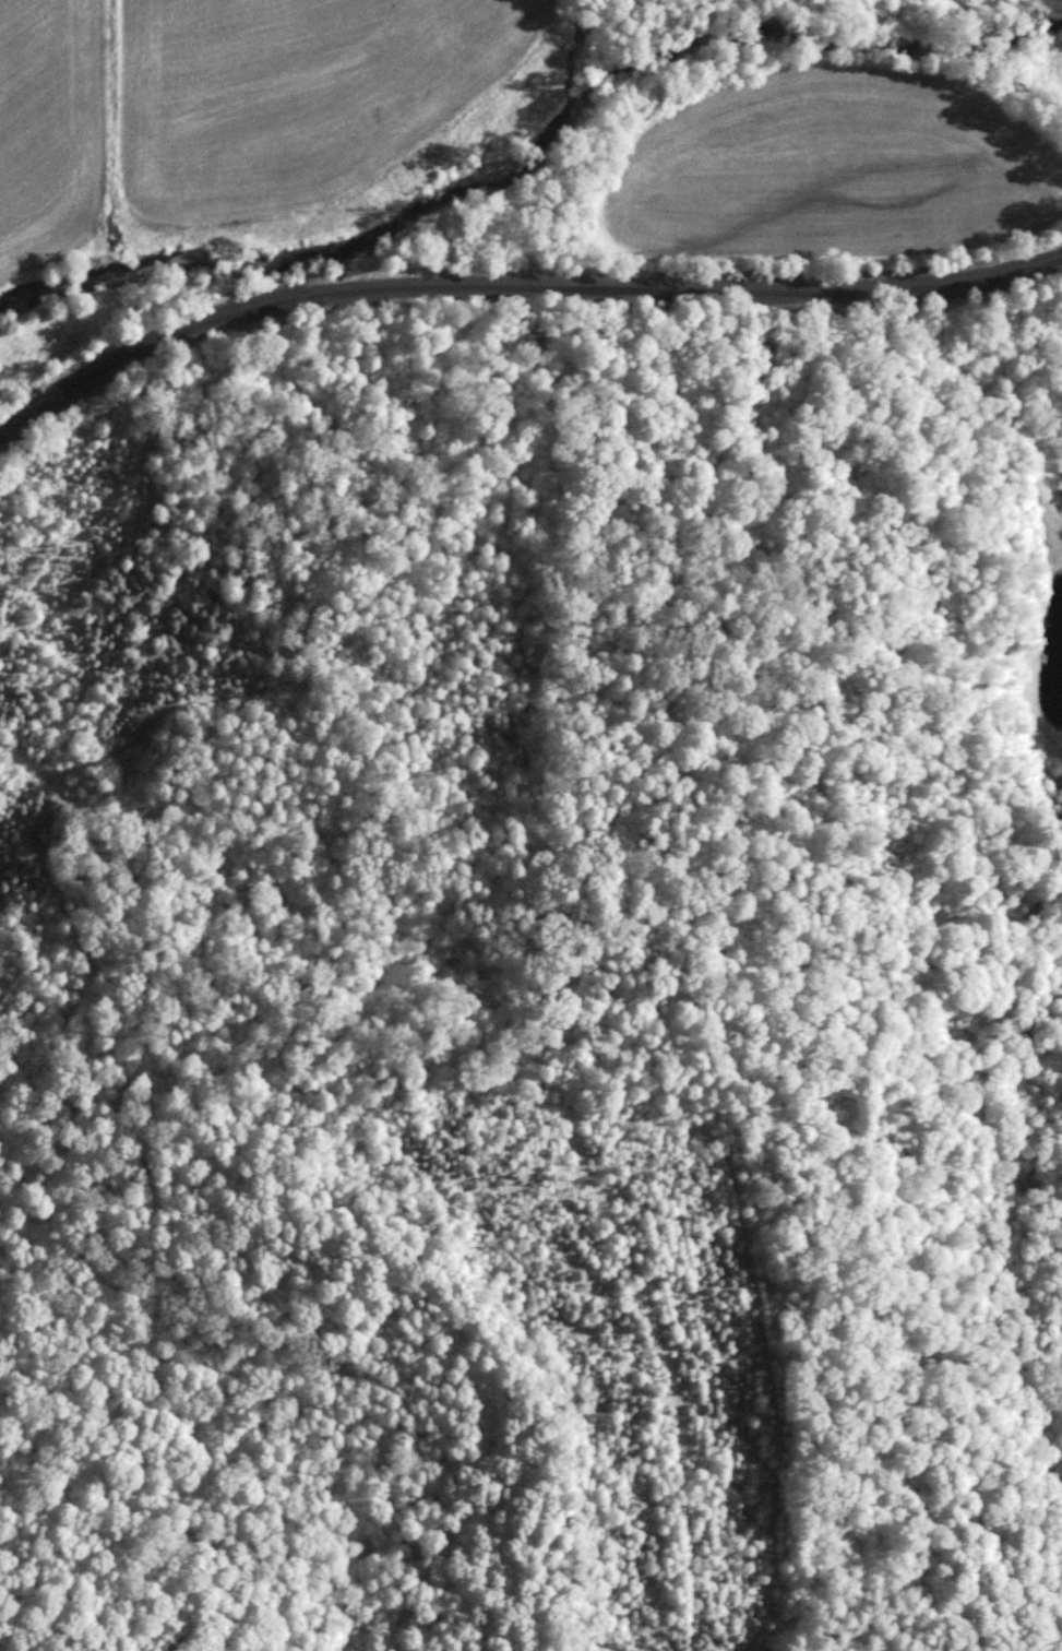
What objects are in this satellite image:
railway: (514, 287)

